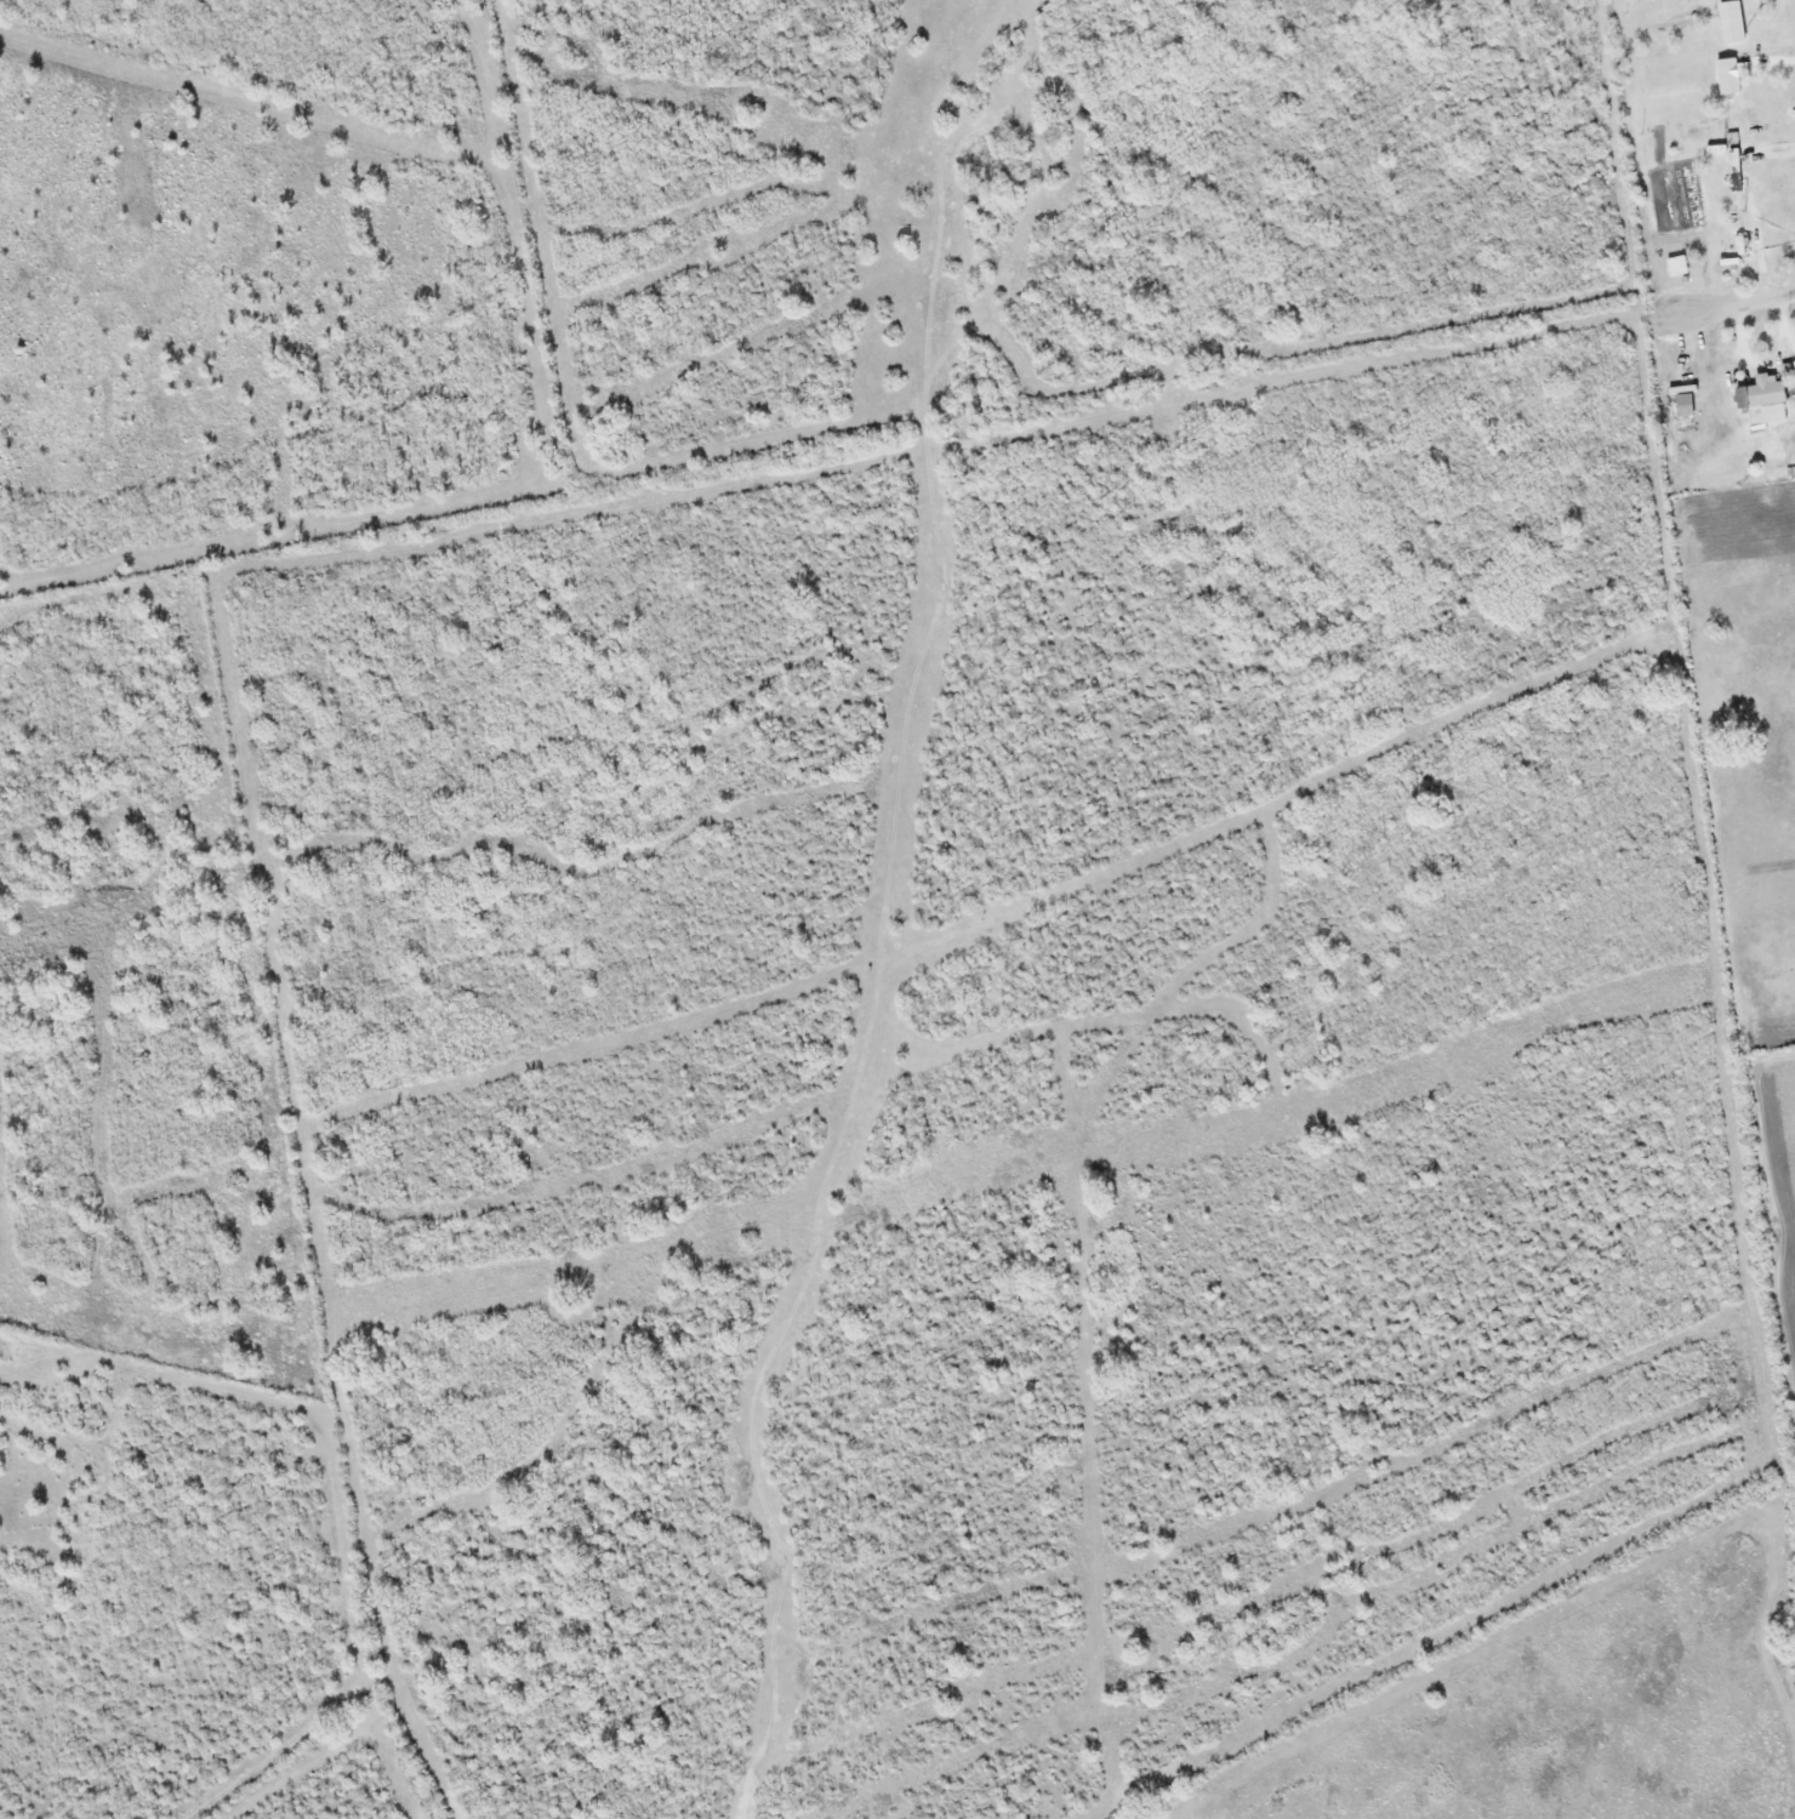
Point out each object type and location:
building: (1728, 76)
building: (1734, 169)
road: (1767, 295)
building: (1762, 393)
building: (1685, 410)

